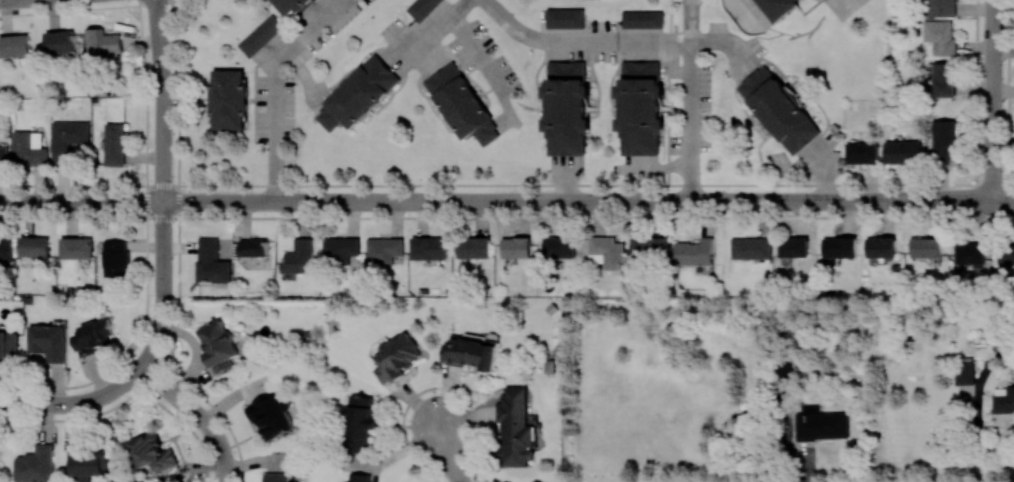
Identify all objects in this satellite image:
road: (3, 0)
building: (293, 6)
building: (776, 6)
road: (850, 6)
building: (423, 8)
building: (942, 8)
road: (743, 15)
building: (565, 17)
building: (642, 19)
road: (436, 27)
building: (260, 35)
building: (939, 37)
road: (578, 40)
building: (60, 41)
building: (104, 42)
road: (722, 43)
building: (14, 45)
road: (479, 52)
building: (944, 79)
road: (275, 85)
building: (357, 94)
building: (229, 99)
road: (992, 99)
road: (162, 100)
road: (689, 100)
building: (462, 104)
building: (566, 107)
building: (640, 107)
building: (778, 108)
building: (68, 138)
building: (943, 140)
building: (114, 143)
building: (29, 147)
building: (863, 152)
building: (904, 152)
building: (3, 155)
road: (659, 168)
road: (826, 171)
road: (571, 180)
road: (595, 181)
road: (162, 185)
road: (1003, 199)
road: (917, 200)
road: (80, 201)
road: (197, 201)
road: (537, 201)
road: (162, 217)
road: (596, 218)
building: (34, 246)
building: (254, 246)
building: (560, 246)
building: (793, 246)
building: (880, 246)
building: (76, 247)
building: (429, 247)
building: (473, 247)
building: (516, 247)
building: (750, 247)
building: (839, 247)
building: (925, 247)
building: (650, 248)
building: (6, 249)
road: (163, 249)
building: (340, 249)
road: (146, 250)
building: (384, 250)
building: (607, 252)
building: (694, 252)
building: (969, 253)
building: (1006, 254)
building: (299, 257)
building: (115, 258)
building: (212, 262)
road: (178, 272)
road: (156, 333)
building: (94, 336)
building: (48, 341)
building: (218, 344)
building: (8, 346)
building: (472, 352)
building: (397, 356)
building: (964, 370)
road: (132, 375)
building: (1004, 400)
road: (63, 403)
road: (190, 406)
building: (271, 415)
building: (360, 423)
building: (821, 423)
building: (515, 427)
road: (444, 451)
building: (152, 452)
building: (86, 464)
building: (36, 465)
road: (226, 470)
building: (277, 477)
building: (359, 477)

